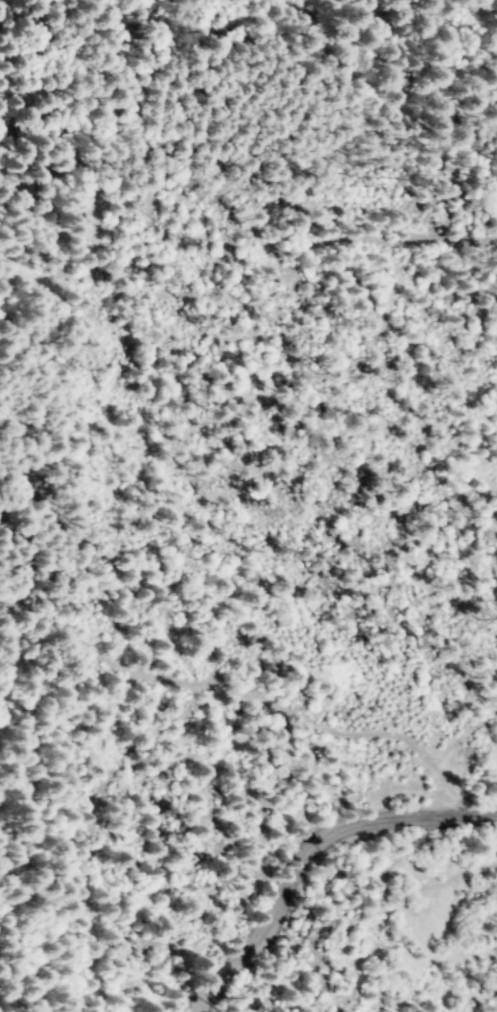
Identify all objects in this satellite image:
road: (318, 851)

